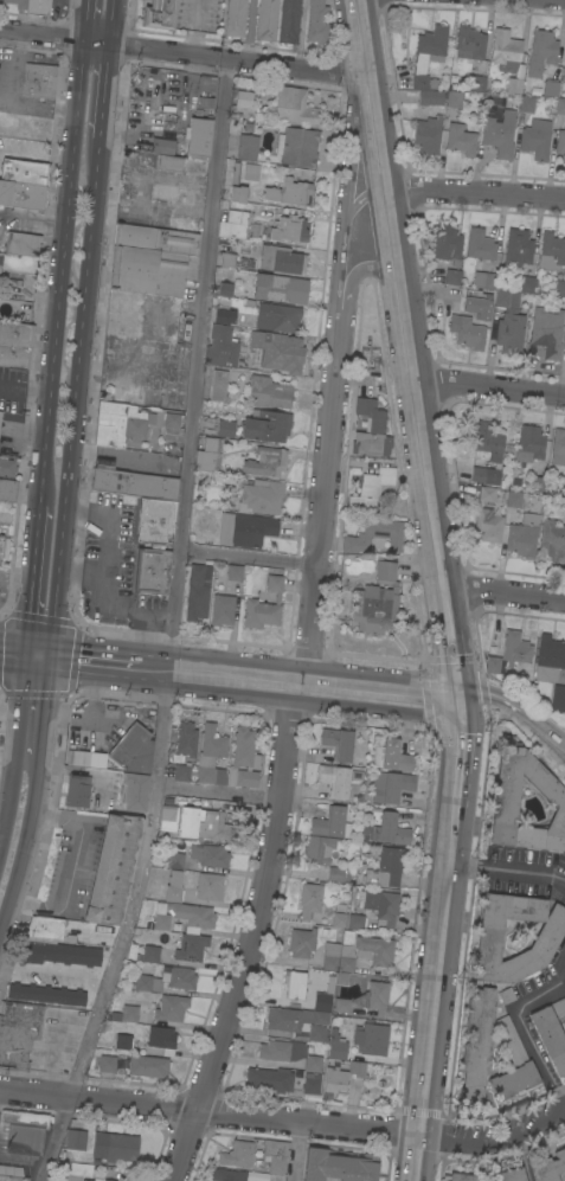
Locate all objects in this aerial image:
building: (31, 6)
building: (158, 13)
building: (235, 18)
road: (85, 19)
building: (267, 20)
road: (113, 21)
building: (289, 21)
building: (317, 21)
building: (470, 41)
building: (505, 50)
building: (541, 51)
road: (185, 52)
building: (428, 52)
building: (564, 64)
building: (564, 77)
building: (39, 81)
building: (206, 83)
building: (434, 83)
building: (479, 83)
building: (514, 84)
building: (550, 88)
road: (105, 95)
building: (430, 96)
building: (454, 98)
building: (526, 103)
building: (242, 104)
building: (294, 105)
building: (560, 105)
building: (500, 133)
building: (428, 134)
building: (537, 137)
building: (198, 139)
building: (461, 139)
building: (560, 143)
building: (162, 145)
building: (248, 146)
building: (297, 146)
road: (34, 158)
building: (181, 163)
building: (24, 171)
building: (251, 171)
building: (236, 185)
building: (171, 192)
building: (289, 192)
building: (21, 194)
road: (474, 194)
road: (345, 198)
road: (364, 198)
building: (136, 222)
building: (184, 224)
building: (235, 224)
building: (289, 229)
building: (155, 238)
building: (448, 243)
building: (21, 244)
building: (480, 244)
building: (518, 248)
building: (551, 251)
building: (282, 258)
building: (227, 259)
building: (246, 262)
road: (60, 264)
building: (148, 270)
building: (452, 276)
road: (353, 277)
building: (484, 280)
building: (526, 283)
building: (559, 287)
building: (225, 288)
building: (281, 288)
building: (468, 294)
building: (501, 297)
building: (476, 308)
building: (123, 312)
building: (221, 315)
building: (277, 316)
building: (547, 330)
building: (509, 332)
building: (17, 333)
building: (469, 333)
building: (221, 346)
road: (407, 347)
building: (278, 351)
building: (14, 355)
road: (488, 383)
building: (218, 385)
building: (269, 392)
building: (148, 393)
road: (75, 402)
building: (0, 413)
building: (172, 418)
building: (120, 423)
building: (267, 425)
building: (225, 428)
building: (371, 429)
building: (488, 437)
building: (529, 443)
building: (558, 447)
building: (208, 455)
building: (267, 462)
building: (7, 467)
building: (486, 475)
building: (134, 482)
building: (515, 482)
building: (503, 483)
building: (539, 483)
building: (371, 488)
building: (7, 489)
building: (564, 492)
building: (487, 493)
building: (262, 495)
building: (500, 498)
building: (514, 499)
road: (320, 501)
building: (564, 507)
building: (153, 519)
building: (489, 524)
building: (251, 528)
building: (374, 535)
building: (524, 535)
road: (37, 537)
building: (551, 543)
building: (0, 545)
road: (246, 552)
building: (0, 559)
building: (152, 570)
building: (235, 572)
road: (82, 573)
road: (104, 578)
road: (17, 582)
road: (503, 590)
building: (198, 591)
building: (377, 601)
building: (264, 605)
building: (221, 609)
road: (30, 618)
road: (169, 627)
road: (13, 652)
traffic signals: (26, 654)
road: (37, 655)
building: (509, 655)
traffic signals: (49, 656)
building: (548, 657)
road: (172, 669)
road: (375, 688)
traffic signals: (457, 695)
building: (558, 701)
road: (514, 705)
road: (43, 713)
building: (186, 738)
building: (338, 742)
road: (564, 742)
road: (17, 744)
building: (133, 749)
road: (464, 755)
building: (391, 756)
building: (77, 757)
building: (244, 758)
building: (205, 759)
building: (334, 778)
building: (391, 785)
building: (77, 790)
building: (131, 790)
road: (217, 791)
building: (506, 798)
building: (169, 815)
building: (330, 823)
building: (213, 827)
building: (392, 829)
road: (454, 839)
building: (319, 848)
road: (23, 851)
building: (210, 854)
building: (175, 856)
building: (381, 867)
building: (111, 868)
road: (508, 869)
building: (335, 873)
building: (174, 886)
building: (210, 886)
building: (380, 906)
building: (328, 907)
building: (185, 916)
building: (50, 928)
road: (251, 935)
building: (546, 938)
building: (302, 942)
building: (192, 946)
building: (377, 949)
building: (59, 952)
building: (148, 954)
building: (338, 956)
building: (178, 977)
building: (146, 982)
building: (295, 983)
building: (46, 994)
building: (506, 994)
building: (374, 996)
building: (341, 1005)
building: (558, 1006)
building: (171, 1008)
building: (131, 1014)
building: (304, 1016)
road: (431, 1021)
road: (524, 1026)
building: (18, 1033)
building: (550, 1036)
building: (371, 1038)
building: (161, 1039)
building: (511, 1039)
building: (122, 1041)
building: (476, 1045)
building: (336, 1046)
building: (288, 1053)
building: (107, 1063)
building: (145, 1065)
building: (357, 1068)
building: (269, 1078)
building: (334, 1079)
building: (312, 1084)
road: (251, 1116)
road: (533, 1123)
building: (24, 1132)
building: (75, 1140)
building: (114, 1147)
road: (297, 1151)
building: (237, 1154)
building: (276, 1155)
building: (336, 1167)
building: (548, 1167)
building: (227, 1174)
building: (512, 1174)
building: (255, 1176)
building: (276, 1176)
building: (461, 1176)
building: (12, 1177)
building: (56, 1177)
building: (108, 1180)

